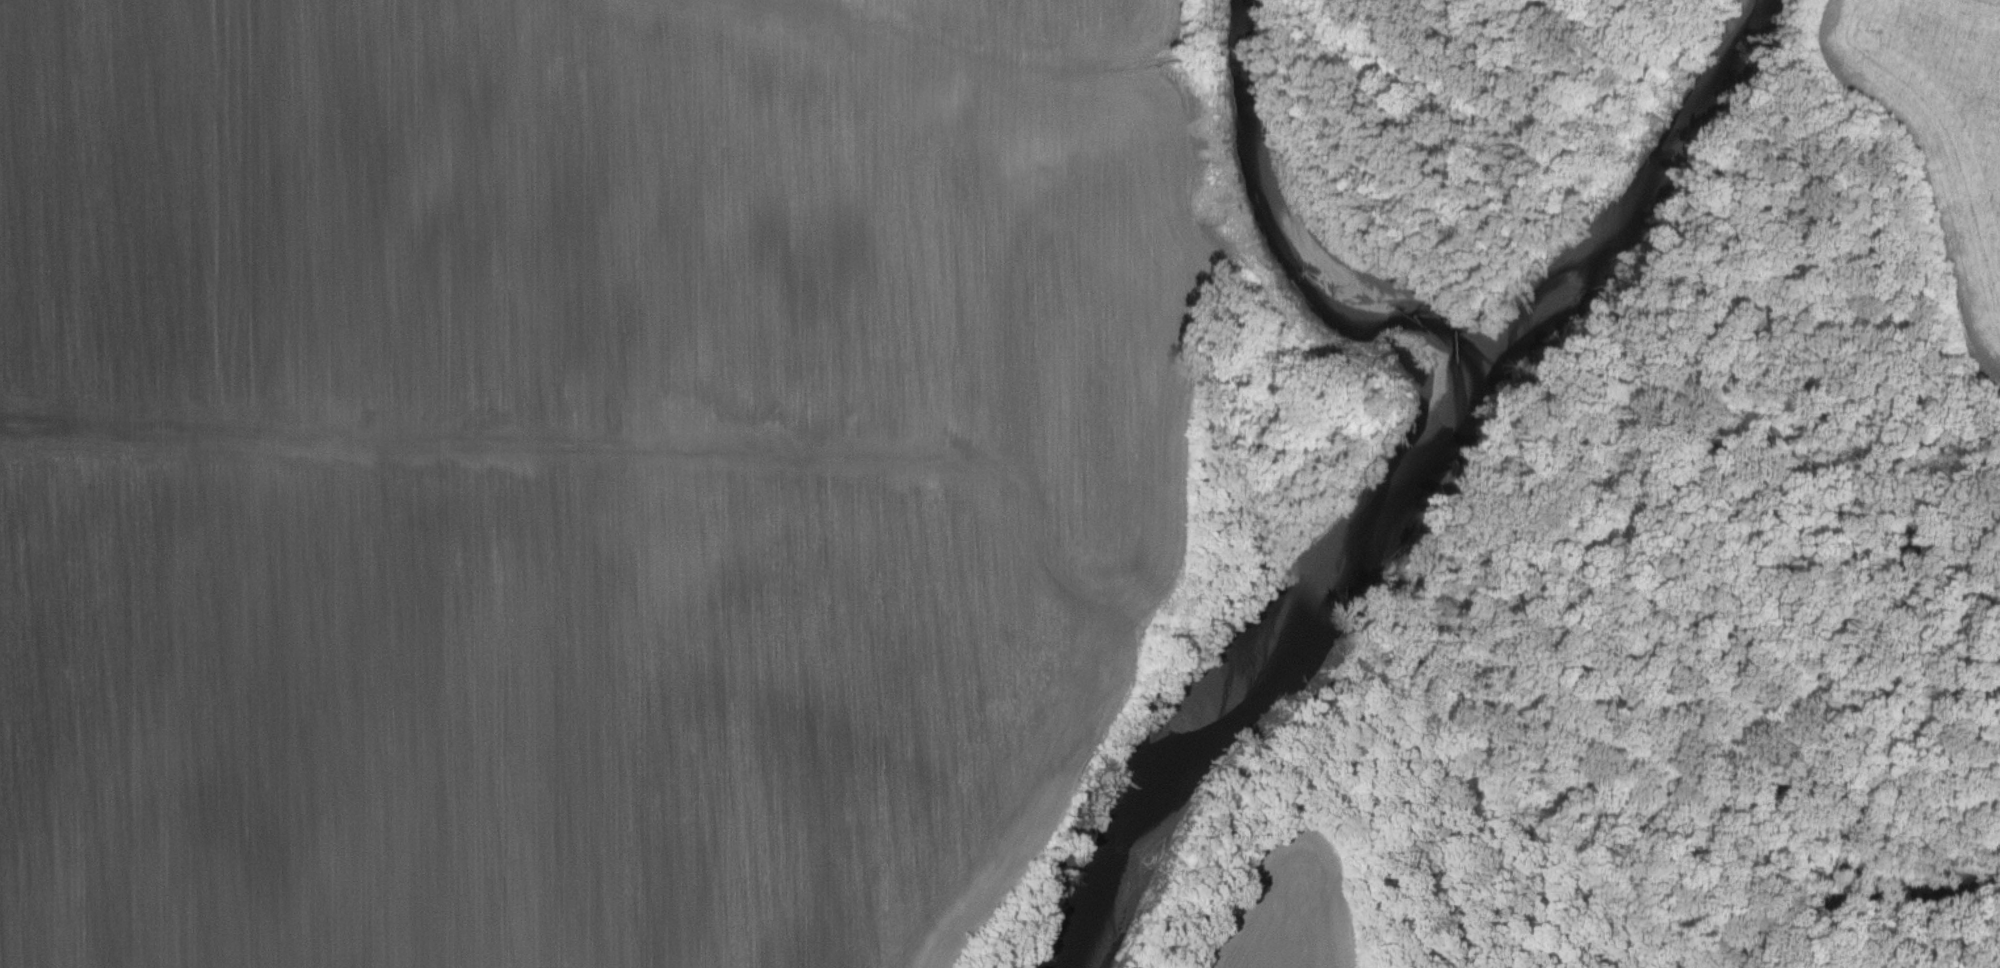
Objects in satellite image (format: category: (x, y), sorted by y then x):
river: (1296, 217)
river: (1389, 472)

